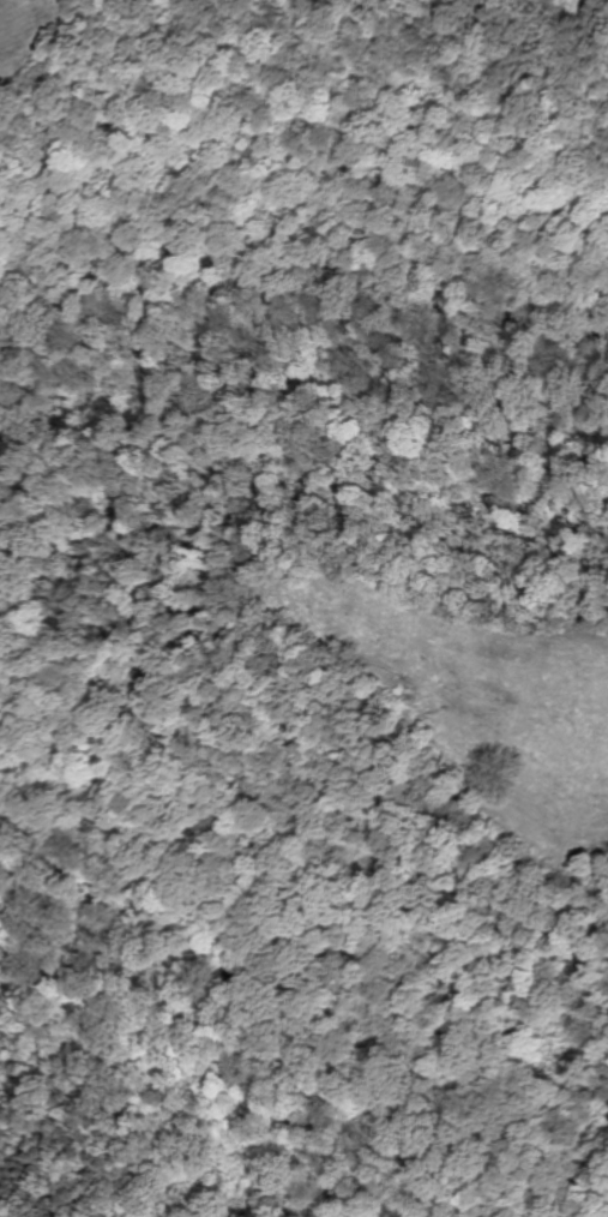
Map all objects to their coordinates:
road: (299, 220)

